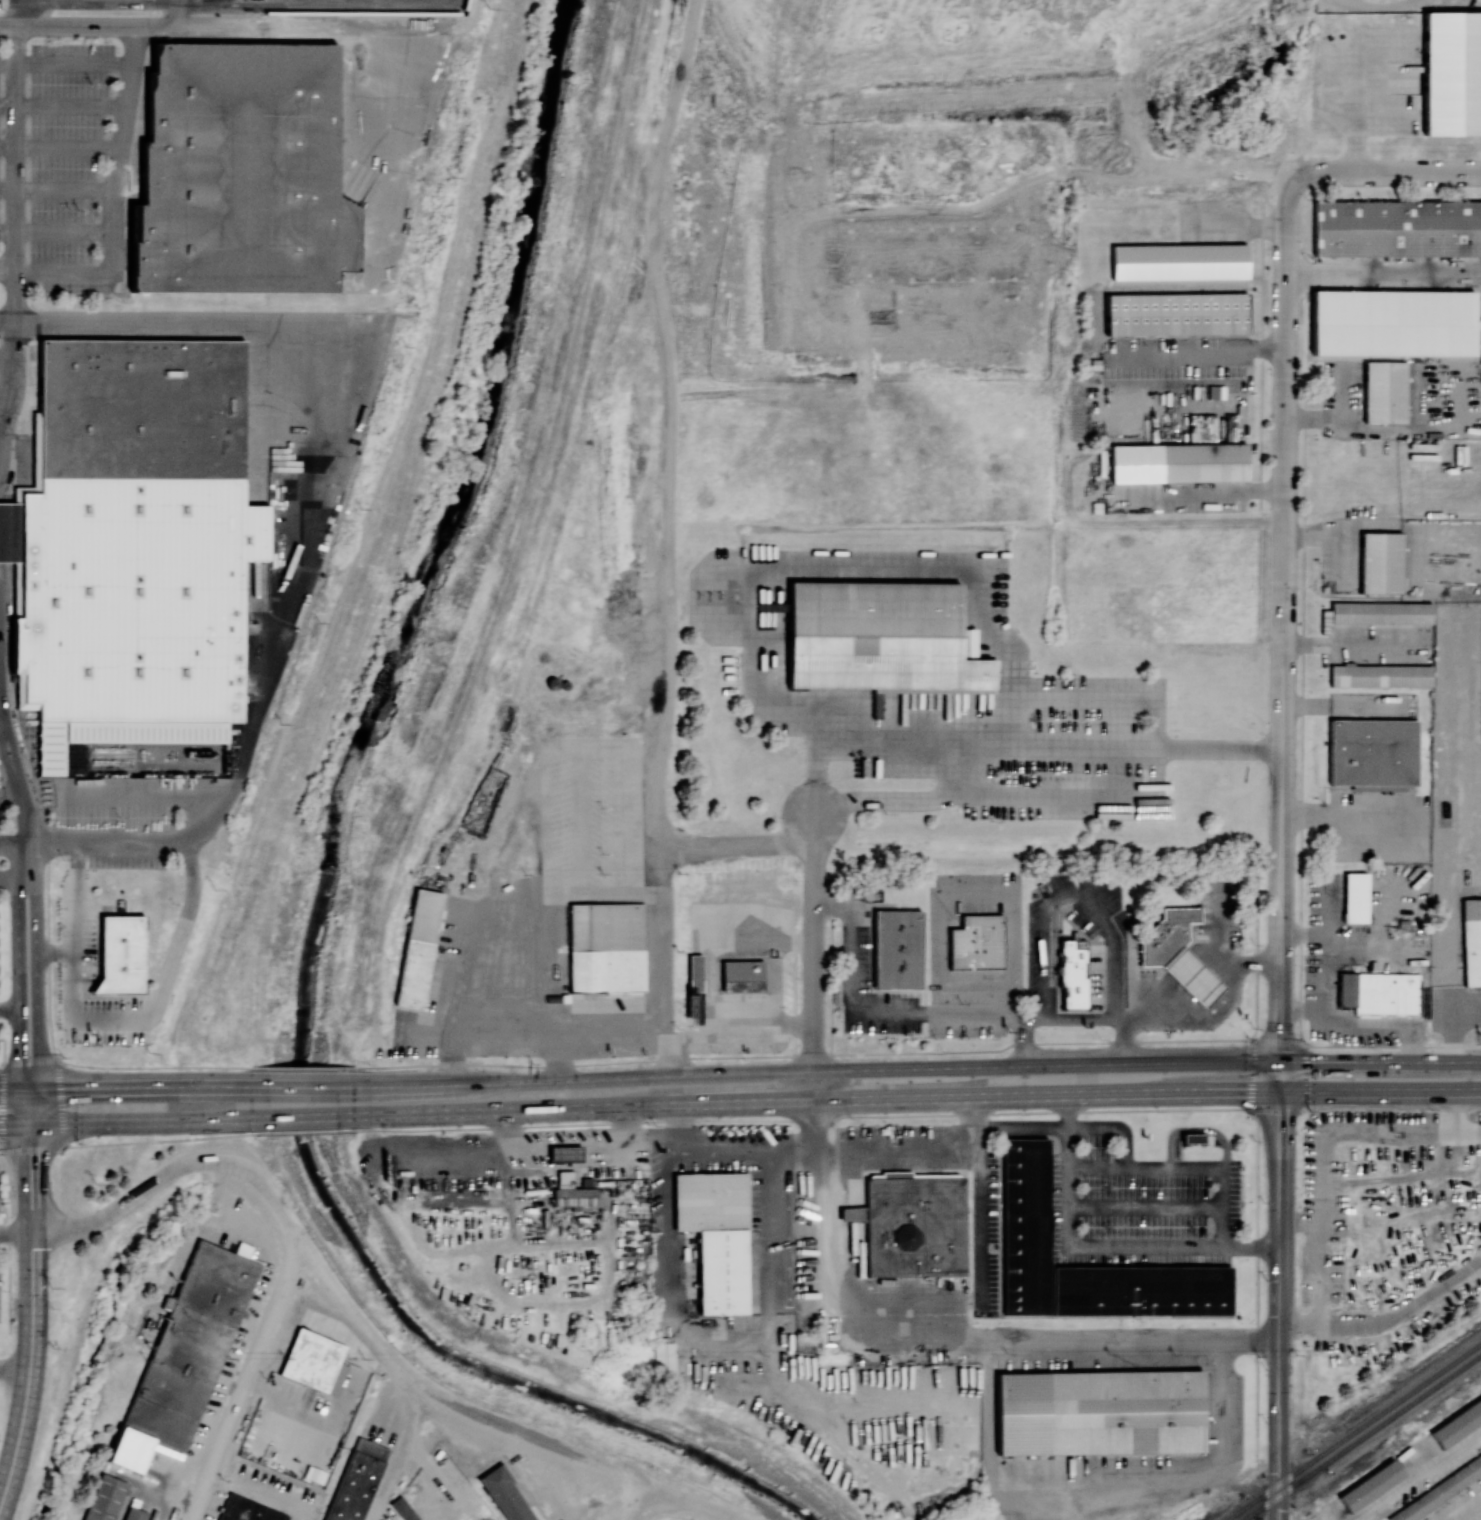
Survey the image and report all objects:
building: (1363, 5)
road: (20, 12)
road: (178, 13)
road: (7, 24)
road: (7, 62)
building: (1452, 73)
road: (69, 107)
road: (13, 139)
building: (241, 172)
road: (1383, 173)
road: (6, 189)
road: (112, 195)
road: (1244, 226)
building: (1396, 228)
road: (6, 232)
building: (1178, 261)
road: (6, 268)
road: (1382, 304)
building: (1176, 314)
road: (5, 319)
building: (1392, 323)
road: (1200, 353)
road: (5, 356)
building: (1384, 392)
road: (1, 397)
road: (345, 414)
road: (1381, 430)
building: (1177, 462)
road: (1216, 493)
power tower: (361, 508)
building: (10, 533)
building: (136, 538)
building: (1380, 562)
building: (1376, 613)
road: (1282, 618)
power tower: (319, 622)
building: (879, 638)
building: (1380, 675)
road: (0, 705)
power tower: (283, 724)
road: (1017, 749)
building: (1372, 754)
road: (6, 757)
road: (14, 770)
road: (9, 793)
road: (206, 810)
road: (1349, 815)
road: (11, 843)
road: (23, 859)
road: (12, 876)
road: (24, 876)
river: (326, 883)
power tower: (215, 888)
road: (659, 888)
building: (1354, 897)
road: (75, 901)
building: (1179, 914)
road: (1112, 934)
road: (1047, 941)
building: (1163, 941)
building: (1471, 941)
building: (976, 942)
building: (606, 947)
building: (417, 948)
building: (896, 948)
building: (121, 954)
road: (815, 957)
road: (1240, 961)
road: (767, 963)
building: (694, 972)
building: (1072, 972)
road: (1187, 973)
road: (1326, 974)
building: (741, 975)
building: (1191, 976)
gas station: (1191, 976)
building: (1377, 993)
road: (1114, 998)
road: (9, 1007)
road: (1155, 1008)
road: (154, 1014)
road: (884, 1014)
road: (1099, 1016)
building: (501, 1017)
road: (1297, 1026)
road: (1381, 1028)
traffic signals: (1279, 1034)
road: (740, 1036)
road: (1275, 1041)
road: (592, 1042)
road: (37, 1047)
road: (486, 1047)
road: (18, 1048)
power tower: (148, 1052)
road: (802, 1054)
traffic signals: (19, 1057)
traffic signals: (1310, 1061)
road: (125, 1066)
road: (302, 1067)
road: (916, 1068)
road: (1250, 1075)
road: (1304, 1076)
road: (124, 1086)
road: (301, 1086)
traffic signals: (65, 1088)
road: (1459, 1090)
traffic signals: (1245, 1092)
road: (1459, 1092)
road: (894, 1099)
road: (1388, 1106)
road: (26, 1107)
road: (35, 1107)
road: (1272, 1112)
road: (908, 1115)
road: (301, 1116)
traffic signals: (1279, 1118)
road: (125, 1123)
road: (1196, 1129)
road: (1115, 1130)
road: (301, 1131)
road: (1023, 1132)
road: (640, 1134)
building: (1191, 1138)
road: (552, 1142)
road: (125, 1143)
road: (897, 1149)
building: (564, 1153)
traffic signals: (32, 1154)
road: (721, 1157)
road: (1182, 1169)
building: (1372, 1170)
power tower: (94, 1182)
building: (572, 1192)
road: (978, 1203)
road: (1144, 1206)
building: (912, 1224)
road: (1279, 1224)
building: (1025, 1226)
road: (288, 1231)
road: (16, 1232)
building: (715, 1236)
road: (1099, 1245)
power tower: (51, 1287)
building: (1140, 1290)
road: (33, 1318)
road: (1388, 1321)
road: (946, 1339)
road: (725, 1342)
building: (186, 1352)
building: (662, 1357)
building: (314, 1361)
road: (15, 1362)
building: (1099, 1412)
railway: (1376, 1414)
road: (467, 1416)
railway: (1381, 1422)
building: (1457, 1424)
road: (1271, 1436)
road: (1283, 1439)
road: (395, 1454)
road: (1417, 1476)
building: (356, 1480)
building: (1371, 1485)
building: (1439, 1490)
road: (1272, 1492)
building: (505, 1494)
railway: (1277, 1495)
building: (103, 1498)
road: (247, 1498)
road: (1093, 1500)
road: (692, 1503)
railway: (1248, 1503)
road: (1282, 1506)
road: (1464, 1508)
building: (402, 1509)
railway: (1256, 1509)
road: (1271, 1509)
building: (247, 1510)
building: (134, 1514)
road: (1331, 1517)

